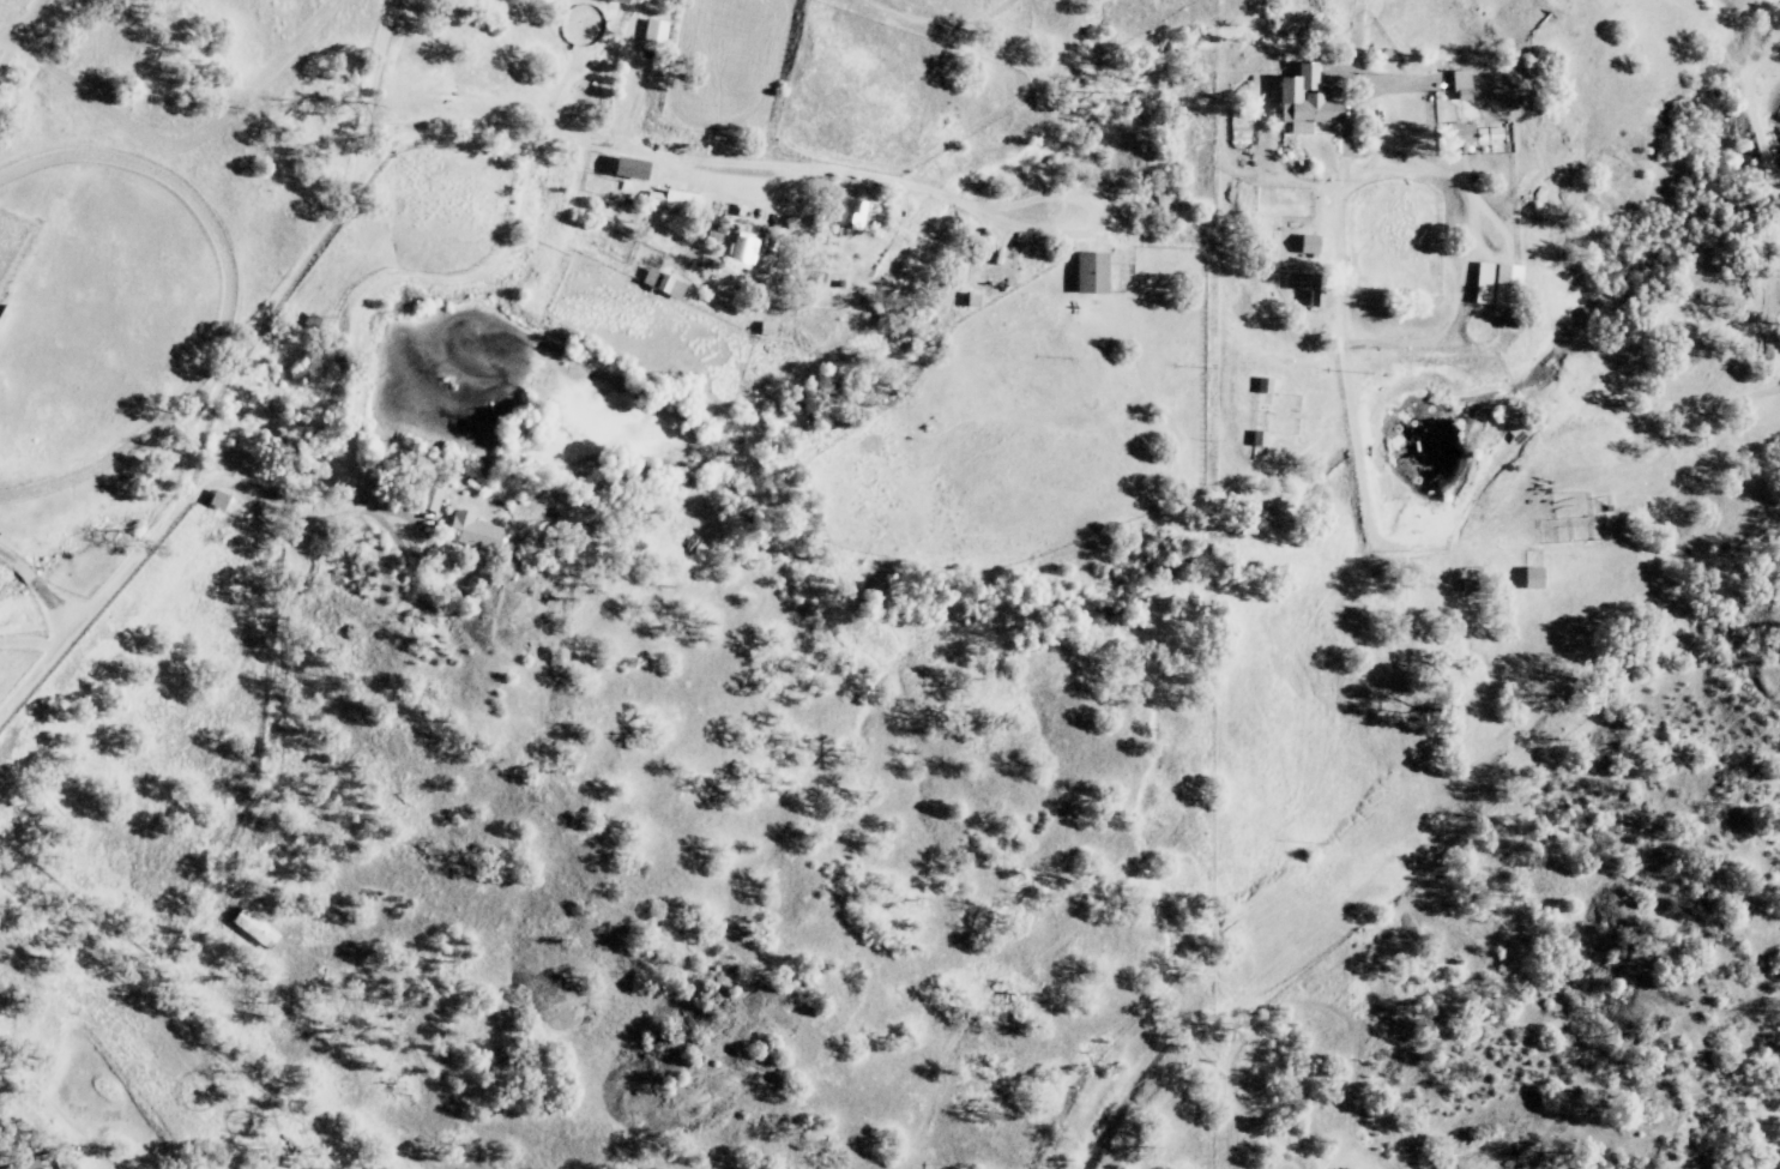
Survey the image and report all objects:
building: (657, 37)
road: (1353, 38)
building: (1466, 86)
building: (1308, 102)
building: (1477, 134)
road: (162, 159)
building: (633, 170)
road: (1452, 174)
road: (800, 182)
building: (675, 201)
building: (855, 215)
building: (1313, 246)
building: (1094, 275)
building: (666, 285)
building: (1498, 285)
building: (1315, 293)
road: (364, 299)
building: (314, 324)
road: (1362, 333)
road: (198, 342)
road: (239, 380)
building: (221, 502)
road: (279, 506)
building: (475, 532)
road: (296, 556)
building: (1537, 580)
road: (37, 586)
road: (28, 644)
building: (258, 929)
road: (1776, 1139)
building: (35, 1165)

